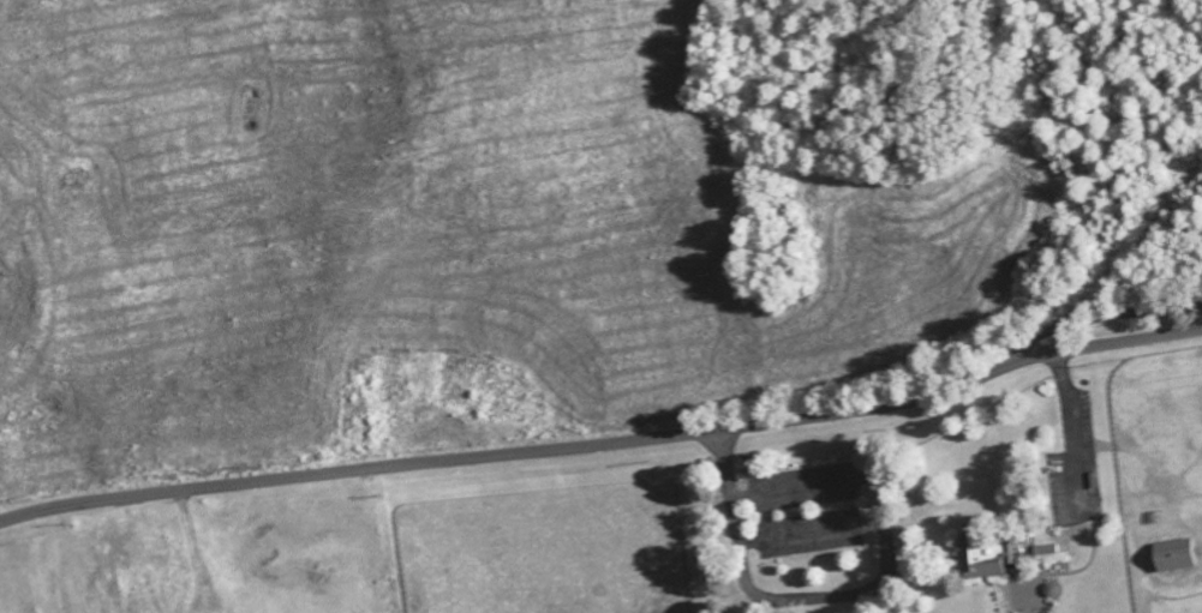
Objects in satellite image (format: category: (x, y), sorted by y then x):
road: (1106, 321)
road: (1074, 428)
road: (605, 445)
building: (1046, 549)
road: (193, 554)
building: (991, 555)
building: (1173, 557)
road: (826, 601)

